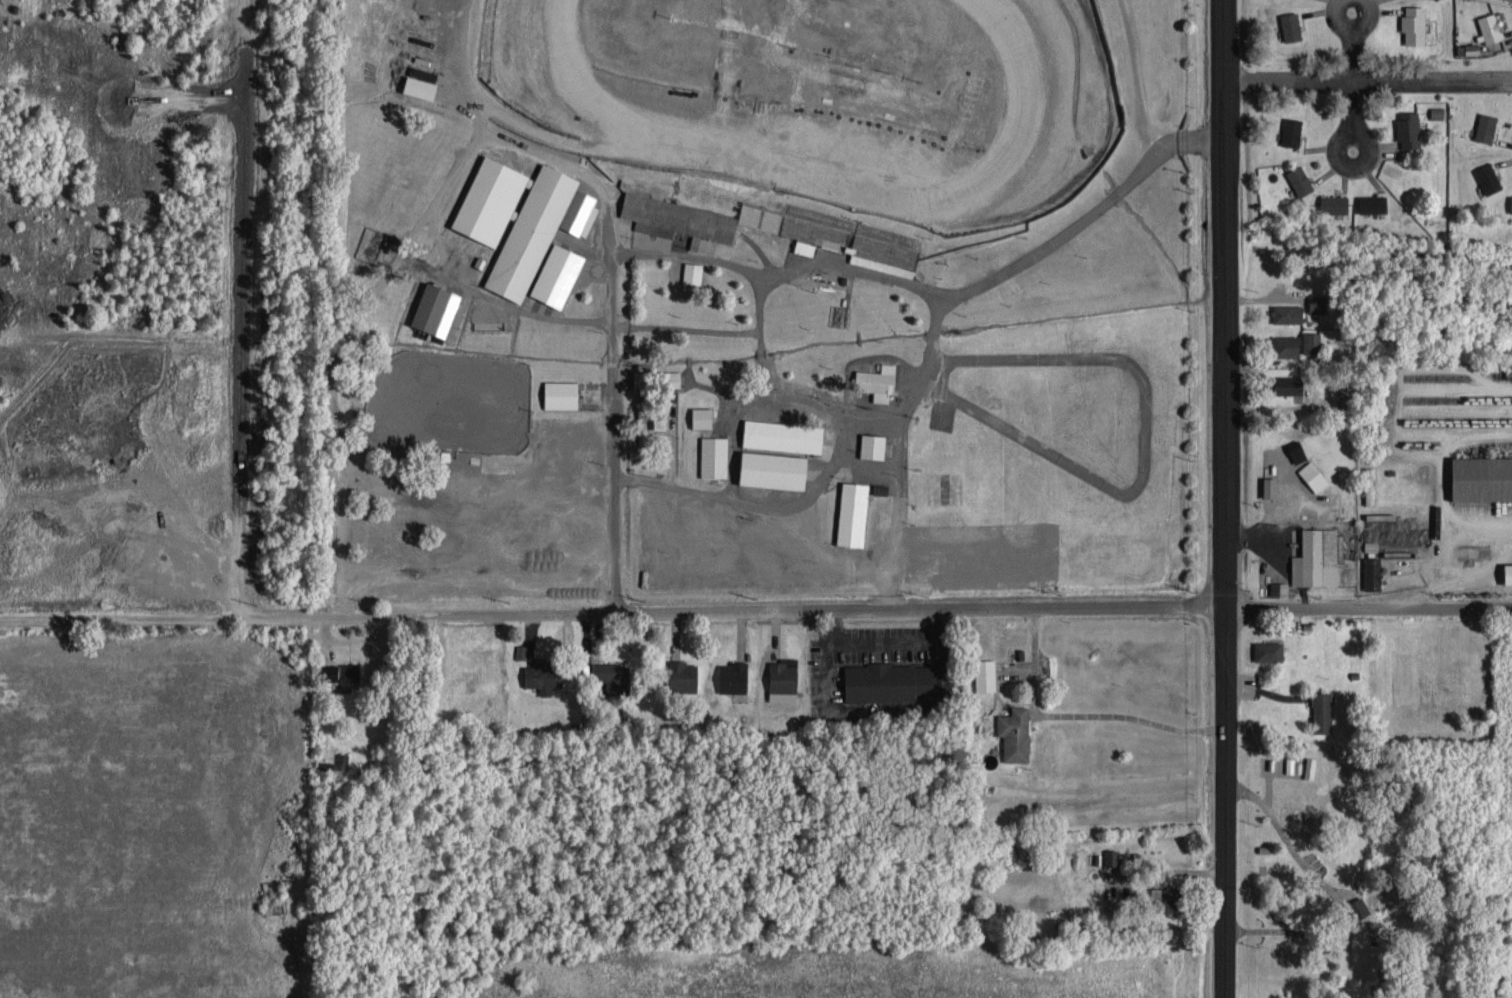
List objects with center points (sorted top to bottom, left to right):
building: (1414, 23)
building: (1291, 25)
building: (1490, 26)
road: (1351, 44)
building: (1468, 47)
building: (428, 73)
road: (1352, 73)
road: (1366, 79)
building: (422, 86)
road: (1346, 121)
building: (1486, 125)
building: (1409, 128)
building: (1291, 130)
road: (1189, 144)
building: (1488, 177)
building: (1300, 179)
raceway: (833, 188)
building: (1373, 202)
building: (1510, 202)
building: (1333, 203)
road: (438, 215)
building: (523, 216)
building: (694, 218)
building: (368, 242)
building: (804, 246)
building: (692, 271)
building: (557, 273)
building: (725, 280)
road: (983, 286)
building: (861, 293)
road: (1220, 302)
building: (1316, 302)
road: (240, 308)
building: (437, 308)
building: (1287, 312)
building: (840, 314)
road: (614, 333)
road: (720, 333)
building: (1311, 341)
building: (1286, 344)
road: (932, 357)
building: (835, 368)
building: (641, 377)
building: (879, 380)
building: (1290, 384)
building: (562, 393)
building: (702, 416)
building: (783, 434)
building: (643, 439)
building: (873, 444)
road: (1146, 449)
building: (1296, 449)
road: (902, 451)
building: (713, 455)
road: (835, 462)
road: (734, 468)
building: (776, 468)
building: (1313, 474)
building: (1483, 477)
building: (1270, 485)
building: (1369, 492)
building: (853, 512)
building: (1317, 557)
building: (1372, 572)
building: (1509, 572)
building: (1279, 587)
road: (1367, 606)
road: (611, 613)
building: (520, 650)
building: (1269, 650)
building: (344, 674)
building: (607, 674)
building: (684, 674)
building: (986, 674)
building: (543, 675)
building: (734, 675)
building: (783, 675)
building: (896, 681)
building: (1323, 711)
building: (1016, 732)
building: (341, 759)
building: (1290, 763)
building: (1310, 766)
road: (1222, 801)
building: (1111, 856)
building: (1171, 896)

